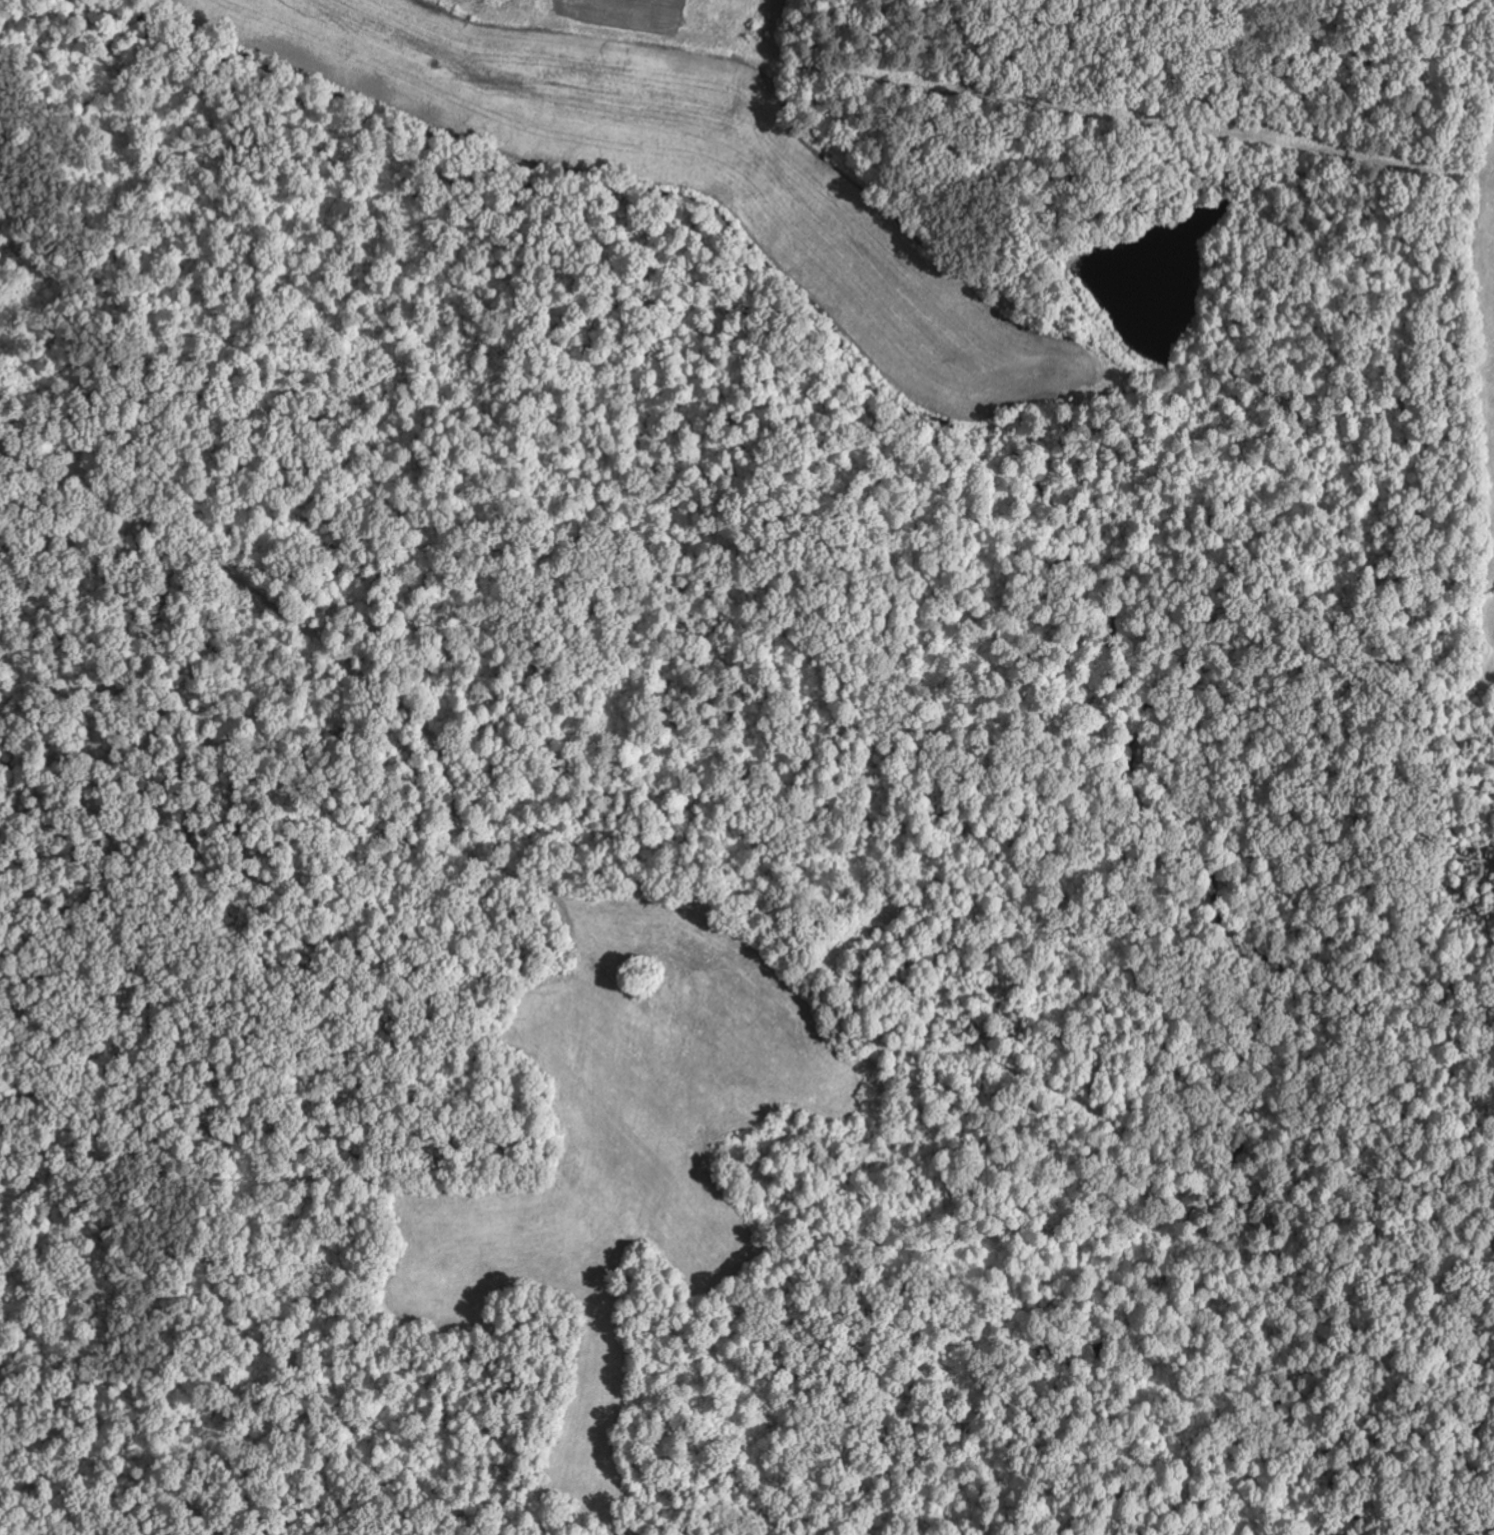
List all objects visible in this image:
road: (45, 485)
park: (31, 522)

